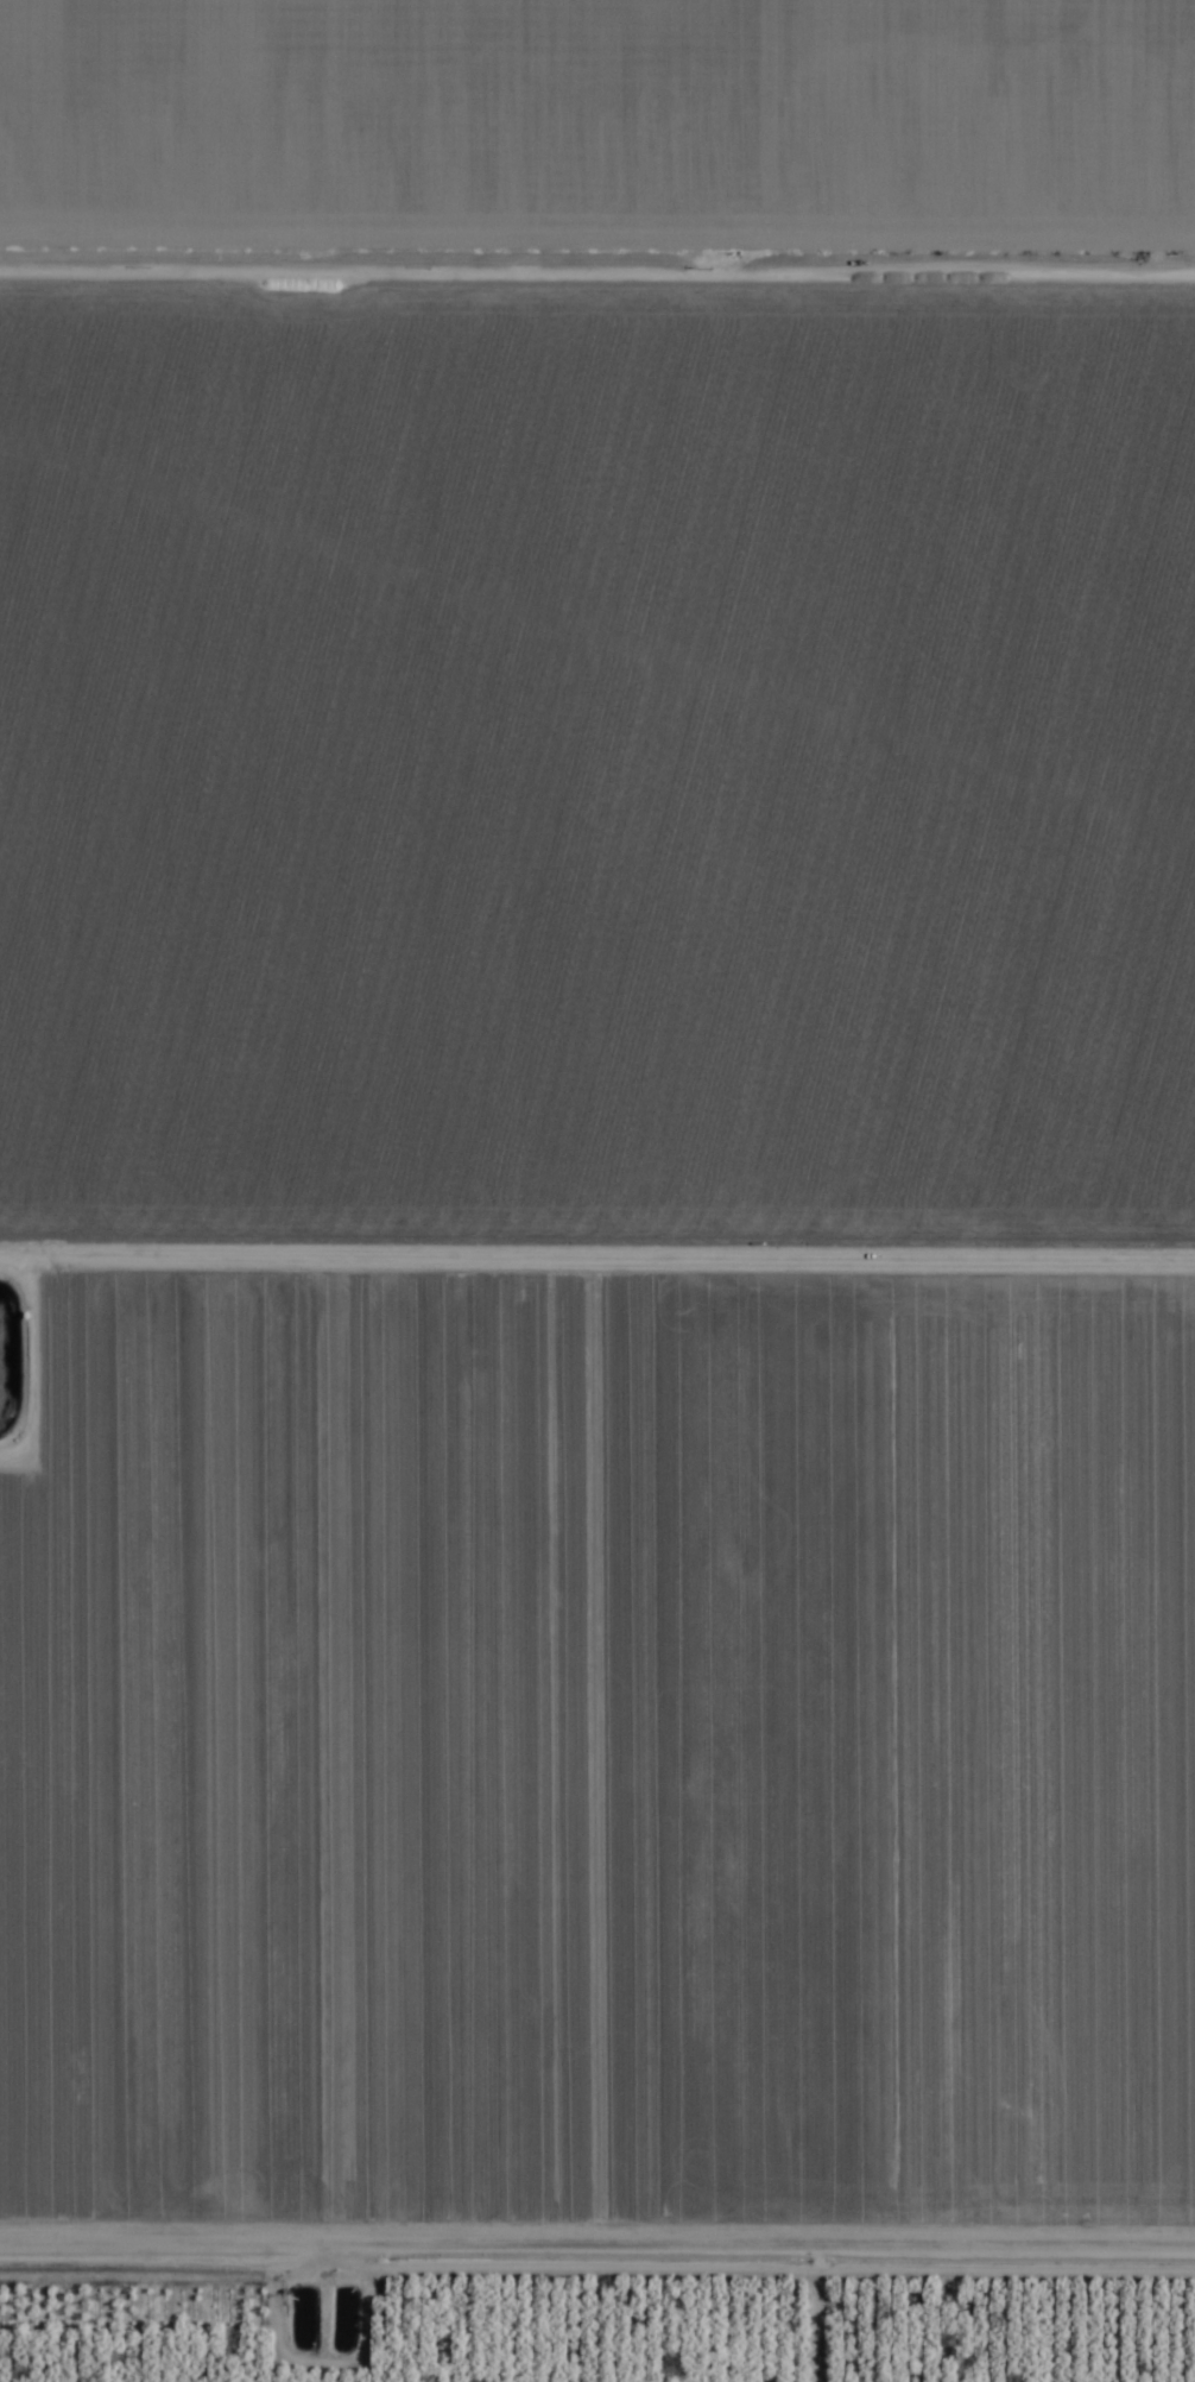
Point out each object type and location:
crop: (597, 1191)
road: (597, 2237)
wastewater plant: (318, 2318)

